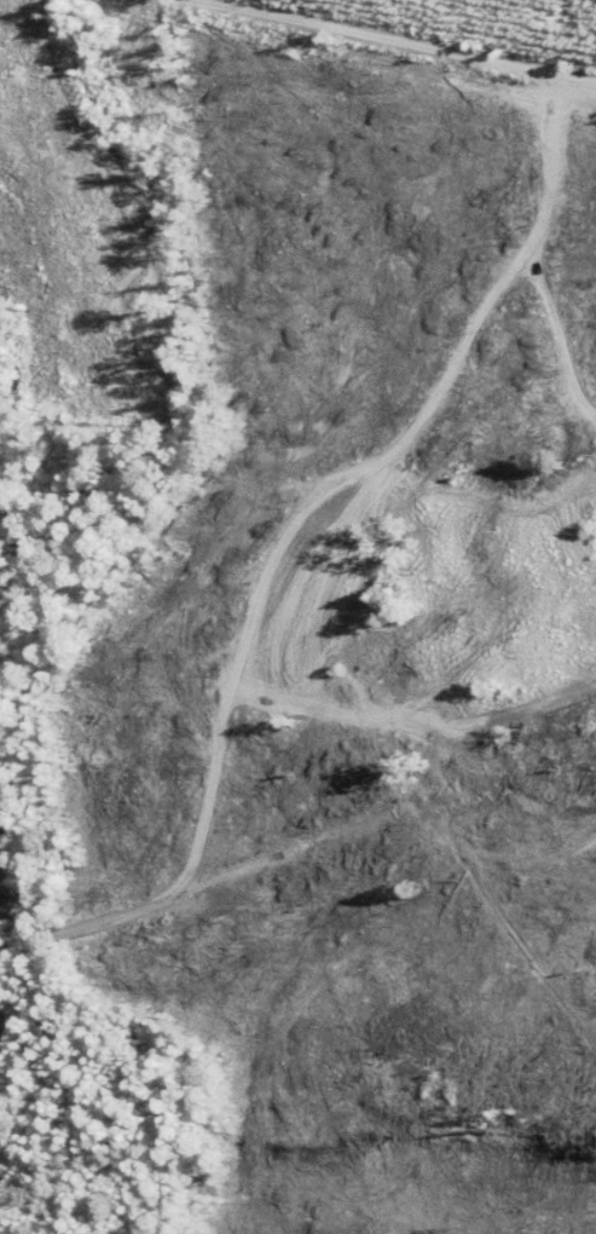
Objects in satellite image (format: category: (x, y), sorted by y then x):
road: (384, 41)

